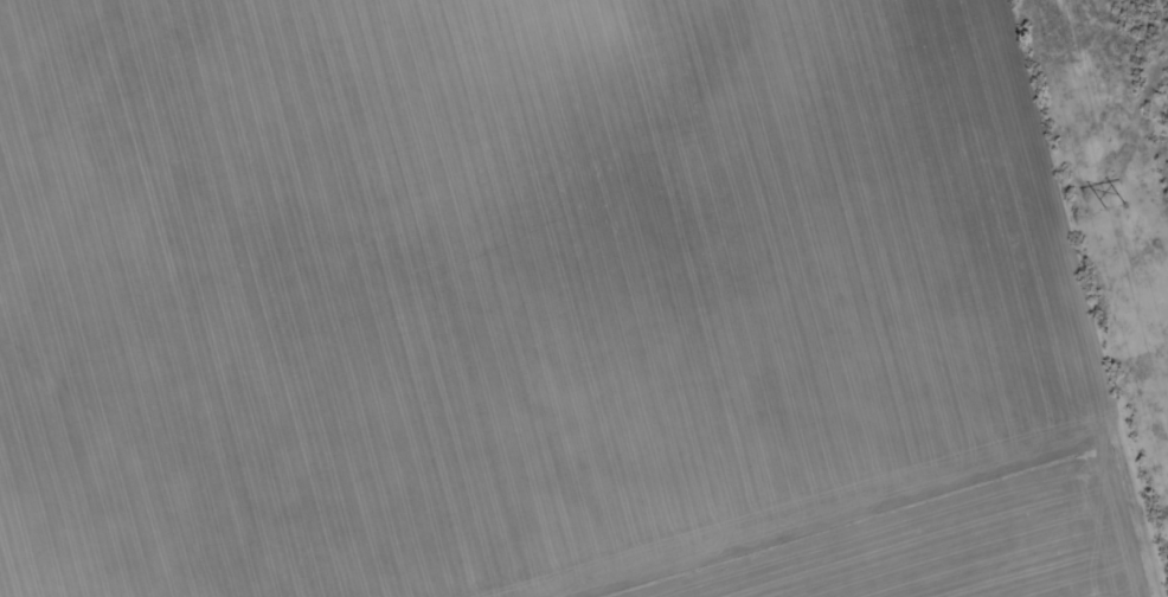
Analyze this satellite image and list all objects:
power tower: (1118, 206)

